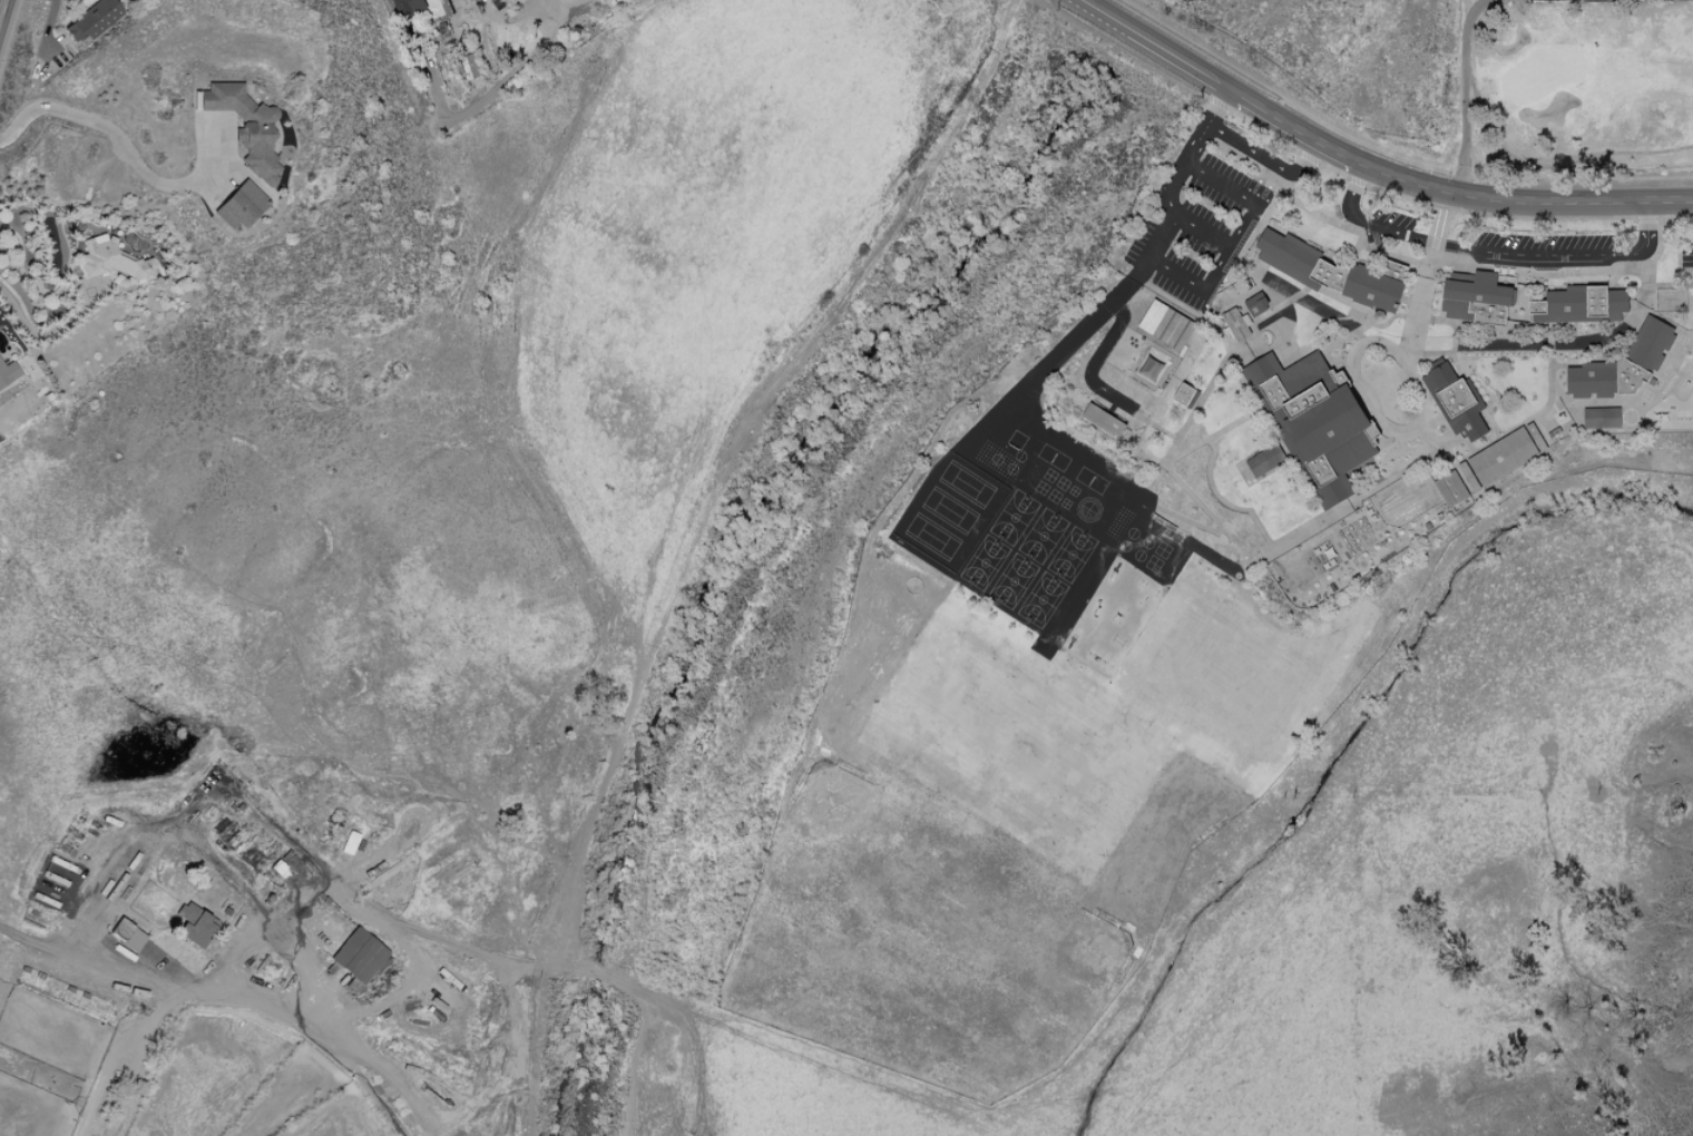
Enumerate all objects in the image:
building: (488, 0)
building: (407, 6)
road: (561, 8)
road: (2, 9)
building: (92, 20)
road: (1153, 45)
road: (522, 60)
building: (470, 66)
park: (1586, 79)
road: (1468, 90)
road: (1205, 125)
building: (245, 127)
road: (1293, 129)
road: (130, 157)
road: (1265, 157)
road: (1381, 172)
road: (1576, 178)
road: (1545, 199)
building: (238, 206)
road: (1444, 207)
road: (1440, 216)
road: (1232, 241)
road: (1494, 252)
parking lot: (1686, 257)
building: (110, 261)
building: (1333, 273)
road: (1176, 274)
road: (1646, 287)
road: (1290, 291)
building: (1477, 300)
road: (1421, 301)
building: (1256, 304)
building: (1581, 305)
building: (1235, 324)
building: (1166, 325)
road: (1082, 331)
road: (45, 336)
road: (1377, 336)
road: (1354, 340)
road: (1411, 343)
road: (1438, 344)
road: (1543, 344)
building: (1651, 344)
road: (1095, 361)
road: (1223, 362)
building: (1151, 369)
building: (8, 373)
building: (1592, 380)
building: (1455, 399)
road: (13, 405)
building: (1601, 417)
building: (1104, 420)
building: (1314, 421)
road: (1212, 435)
road: (1436, 447)
building: (1501, 457)
building: (1264, 460)
park: (1049, 474)
road: (723, 479)
park: (1061, 482)
park: (966, 483)
park: (1040, 488)
building: (1450, 488)
park: (1074, 491)
park: (1054, 496)
road: (1359, 496)
road: (1225, 502)
park: (1065, 503)
park: (949, 510)
park: (1014, 517)
road: (1216, 522)
park: (932, 536)
park: (1043, 536)
park: (1162, 549)
park: (1071, 555)
park: (983, 561)
park: (1153, 564)
park: (1012, 580)
park: (1041, 599)
road: (595, 666)
road: (165, 834)
building: (194, 928)
building: (356, 956)
road: (305, 968)
road: (164, 1058)
road: (490, 1091)

